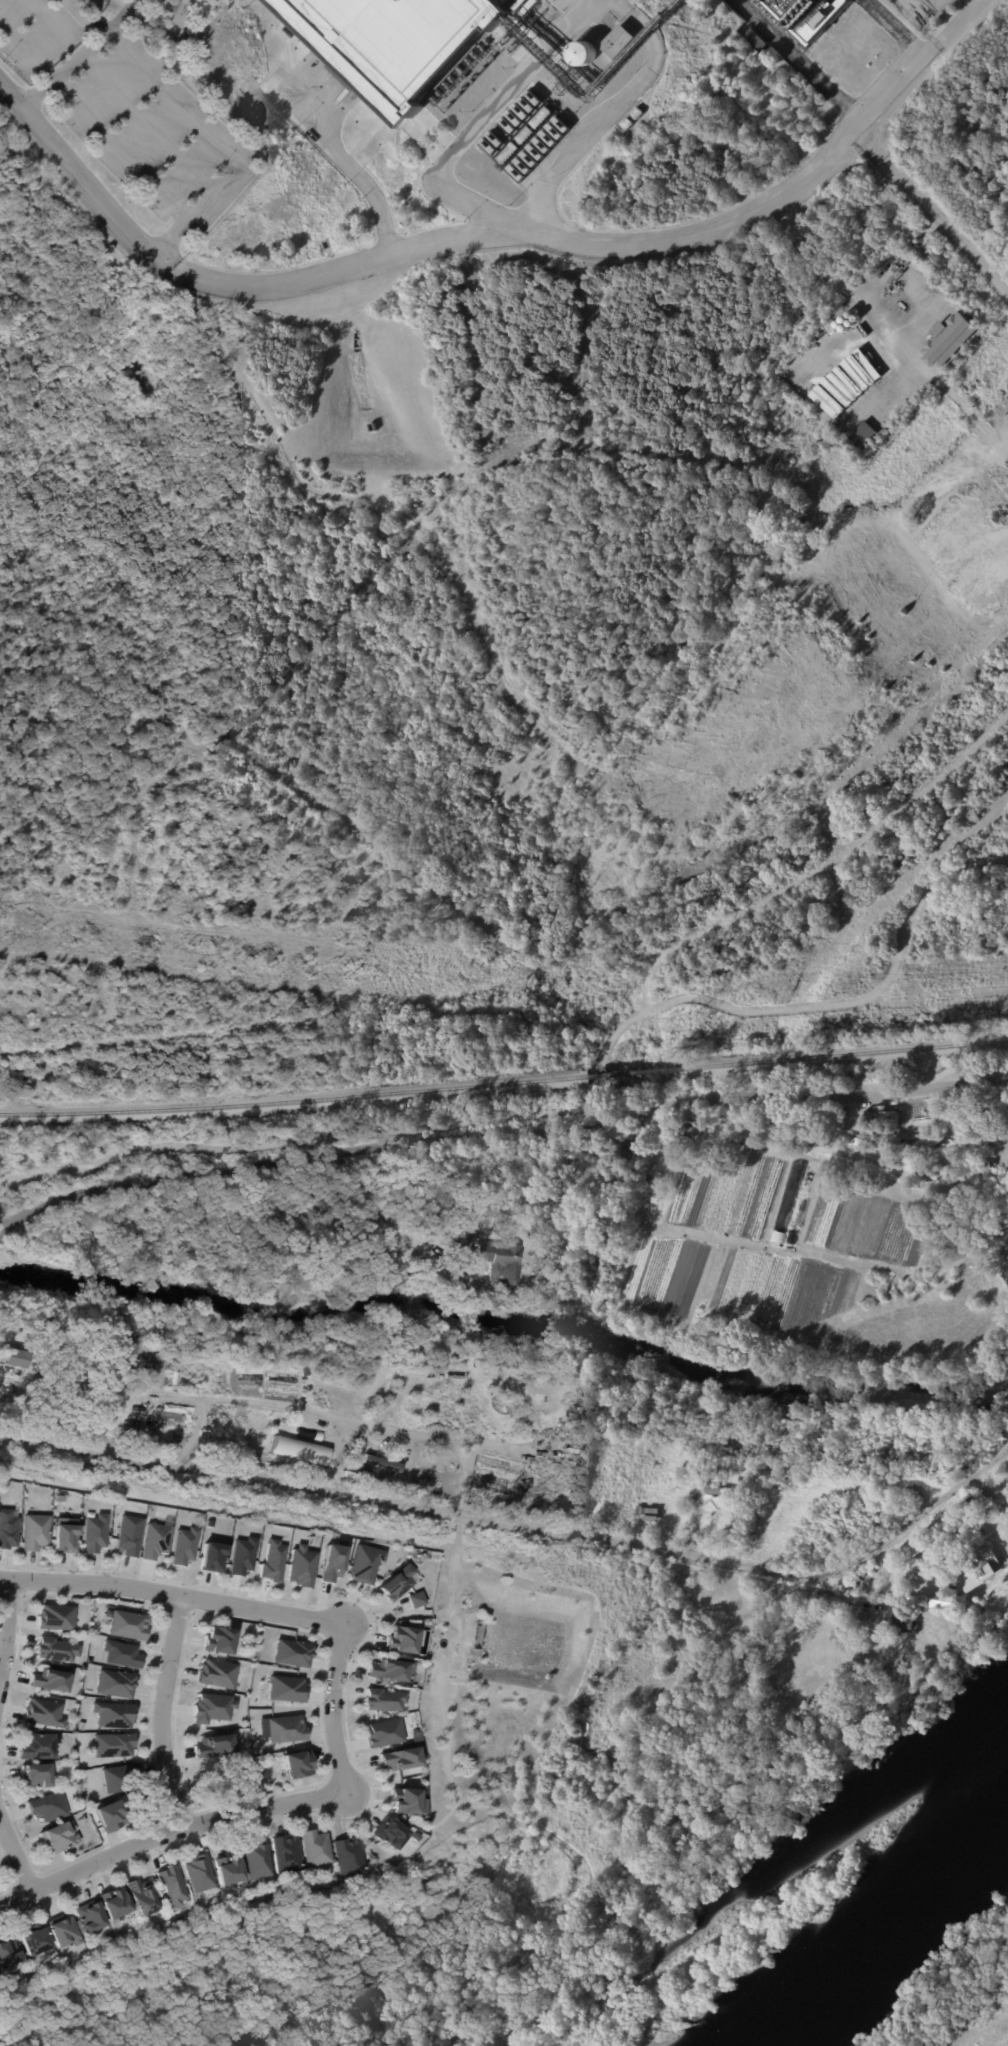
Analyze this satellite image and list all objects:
parking lot: (925, 14)
road: (124, 15)
building: (803, 17)
road: (901, 28)
parking lot: (36, 35)
building: (755, 40)
building: (621, 43)
building: (398, 45)
building: (587, 53)
road: (807, 62)
road: (176, 99)
building: (639, 114)
building: (516, 118)
building: (542, 119)
building: (629, 125)
road: (144, 126)
parking lot: (152, 127)
building: (526, 137)
road: (117, 153)
building: (508, 155)
road: (346, 167)
road: (932, 219)
road: (509, 223)
road: (490, 237)
building: (955, 341)
building: (851, 377)
building: (836, 391)
building: (826, 401)
building: (862, 435)
road: (823, 1000)
power tower: (688, 1019)
railway: (846, 1053)
railway: (635, 1072)
road: (600, 1089)
railway: (293, 1100)
building: (880, 1119)
building: (1006, 1119)
road: (417, 1128)
building: (957, 1130)
road: (498, 1134)
building: (758, 1138)
building: (987, 1140)
building: (807, 1141)
building: (858, 1142)
road: (114, 1153)
road: (145, 1163)
building: (987, 1163)
building: (926, 1170)
building: (843, 1172)
building: (666, 1177)
building: (789, 1195)
building: (777, 1237)
building: (791, 1238)
building: (498, 1261)
building: (458, 1265)
building: (537, 1289)
building: (100, 1337)
building: (122, 1337)
building: (15, 1359)
building: (128, 1368)
building: (67, 1369)
building: (609, 1406)
road: (365, 1425)
building: (615, 1426)
road: (194, 1436)
building: (381, 1462)
building: (58, 1496)
building: (712, 1496)
building: (977, 1501)
building: (208, 1521)
building: (7, 1527)
road: (522, 1527)
building: (33, 1529)
building: (93, 1532)
building: (64, 1534)
building: (128, 1535)
building: (153, 1541)
building: (183, 1544)
building: (918, 1550)
building: (241, 1554)
building: (211, 1555)
building: (271, 1558)
building: (331, 1561)
building: (363, 1561)
building: (300, 1565)
building: (979, 1565)
road: (25, 1580)
building: (395, 1581)
building: (867, 1583)
road: (11, 1595)
building: (414, 1599)
building: (947, 1602)
building: (791, 1604)
road: (178, 1610)
building: (55, 1618)
building: (906, 1623)
building: (127, 1625)
road: (293, 1627)
road: (6, 1628)
building: (401, 1638)
building: (217, 1640)
road: (160, 1641)
building: (54, 1644)
building: (119, 1652)
building: (290, 1654)
building: (385, 1671)
building: (214, 1674)
building: (48, 1680)
building: (113, 1681)
building: (284, 1689)
building: (383, 1699)
building: (210, 1706)
road: (163, 1711)
building: (42, 1713)
building: (111, 1714)
road: (332, 1716)
road: (345, 1717)
building: (283, 1728)
building: (382, 1733)
building: (413, 1736)
building: (110, 1743)
building: (36, 1745)
building: (213, 1746)
building: (399, 1757)
building: (294, 1765)
building: (35, 1776)
building: (117, 1778)
building: (406, 1800)
building: (46, 1807)
road: (179, 1811)
building: (109, 1814)
road: (167, 1832)
building: (389, 1833)
building: (58, 1838)
park: (565, 1846)
building: (315, 1848)
building: (287, 1854)
road: (15, 1855)
building: (346, 1858)
building: (257, 1861)
building: (229, 1868)
building: (199, 1871)
road: (11, 1874)
road: (25, 1875)
building: (172, 1884)
building: (139, 1895)
building: (111, 1904)
building: (87, 1918)
building: (62, 1931)
river: (894, 1937)
building: (33, 1938)
building: (6, 1951)
road: (285, 2025)
road: (48, 2031)

